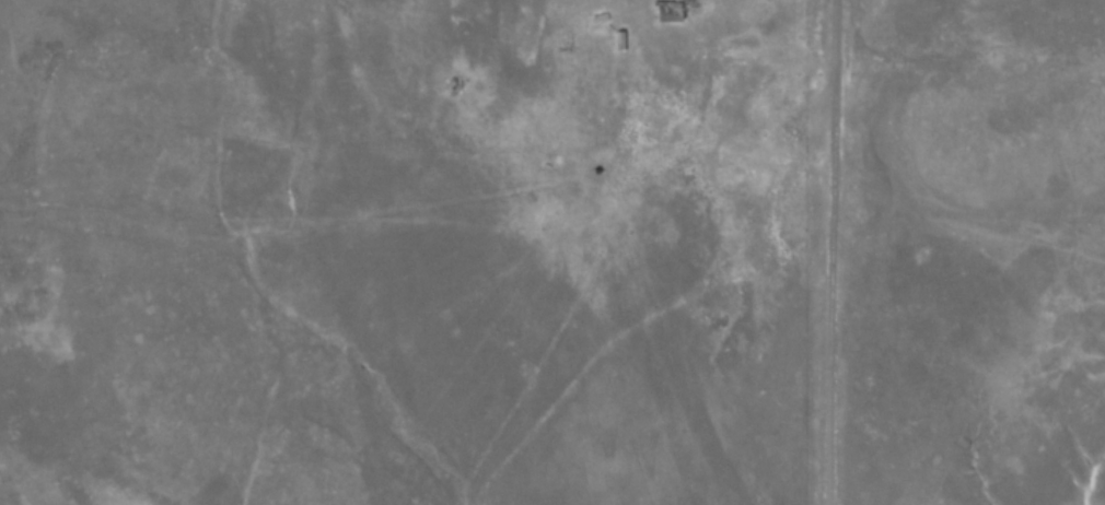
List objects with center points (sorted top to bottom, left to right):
building: (616, 39)
road: (694, 153)
road: (829, 251)

